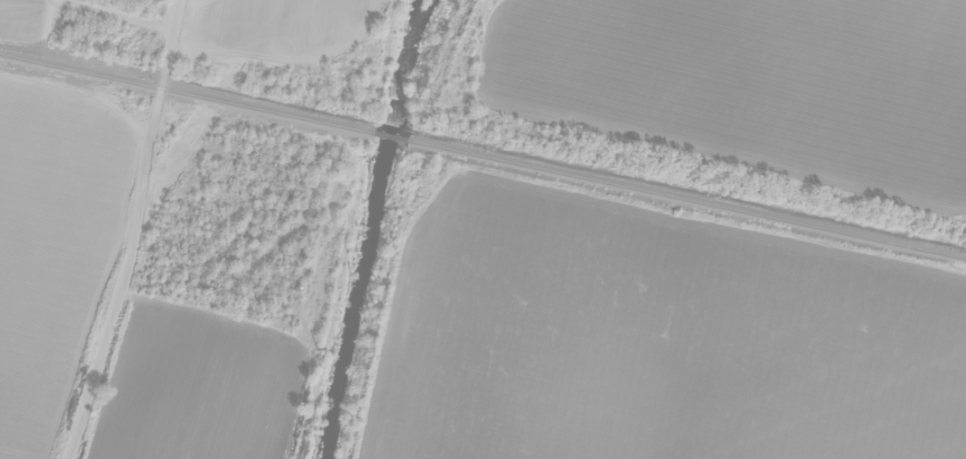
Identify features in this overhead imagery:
railway: (483, 154)

